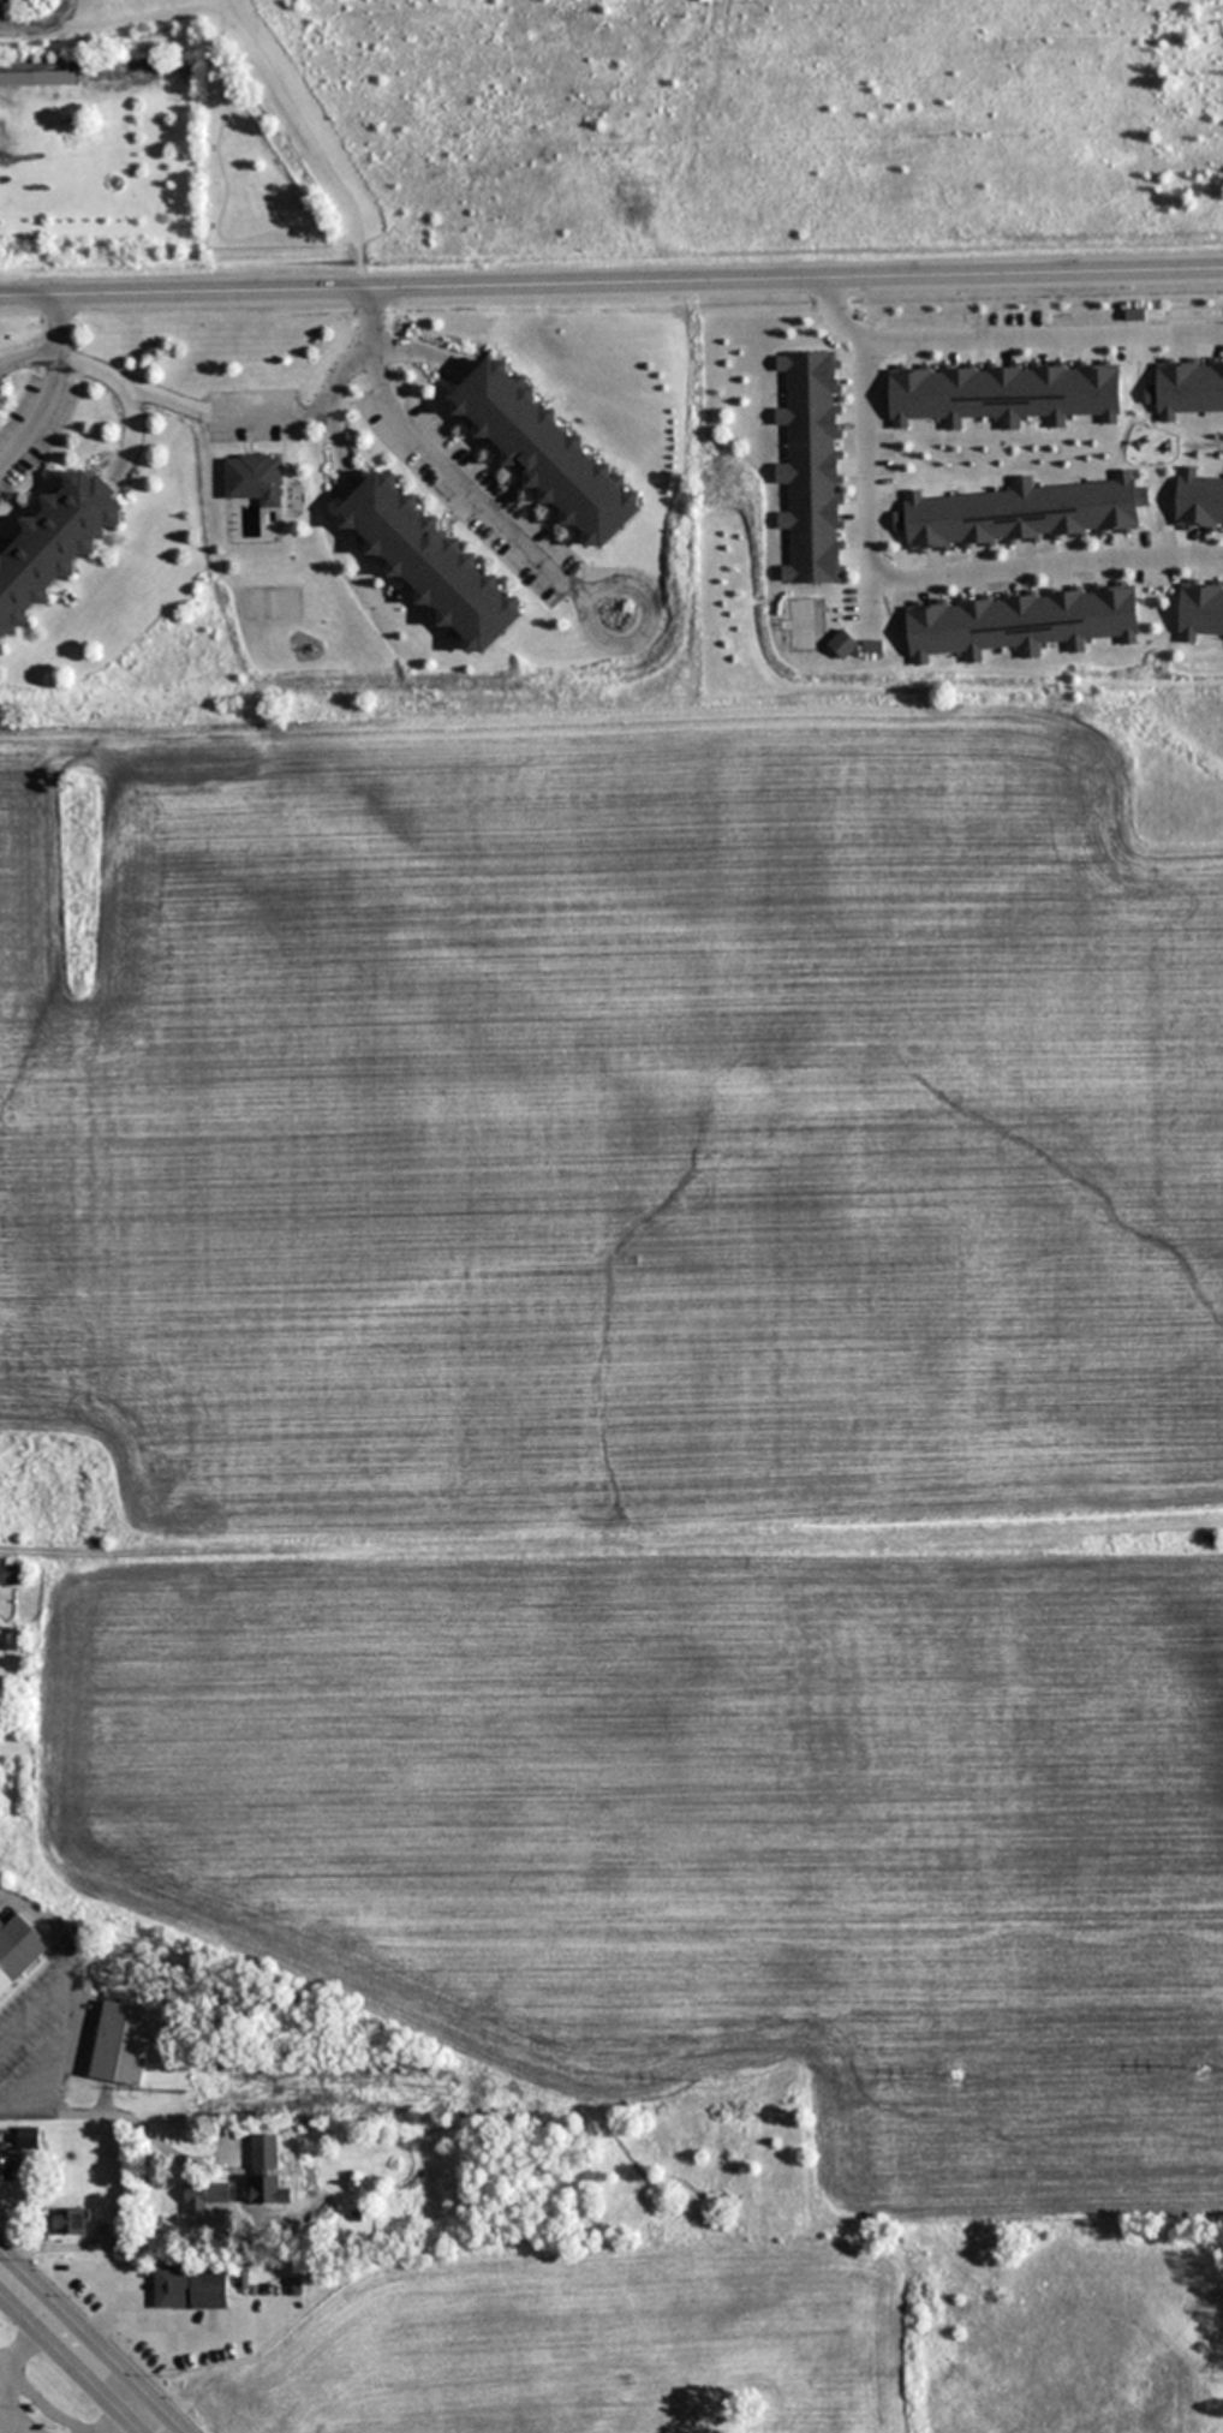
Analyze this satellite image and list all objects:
road: (143, 17)
road: (208, 61)
building: (16, 79)
road: (310, 138)
road: (219, 163)
road: (611, 284)
building: (1135, 315)
road: (1044, 339)
road: (48, 387)
building: (1186, 387)
building: (1004, 393)
road: (225, 415)
parking lot: (253, 416)
road: (867, 445)
building: (545, 453)
road: (440, 455)
building: (811, 465)
building: (253, 478)
building: (1199, 501)
building: (1021, 513)
building: (54, 547)
building: (430, 562)
road: (1046, 565)
building: (1200, 609)
building: (1022, 622)
road: (644, 630)
building: (842, 644)
crop: (649, 1461)
building: (12, 1574)
building: (19, 1951)
building: (112, 1978)
road: (64, 2004)
road: (145, 2128)
building: (266, 2152)
building: (20, 2157)
building: (205, 2195)
building: (70, 2222)
building: (192, 2289)
road: (91, 2340)
road: (70, 2363)

